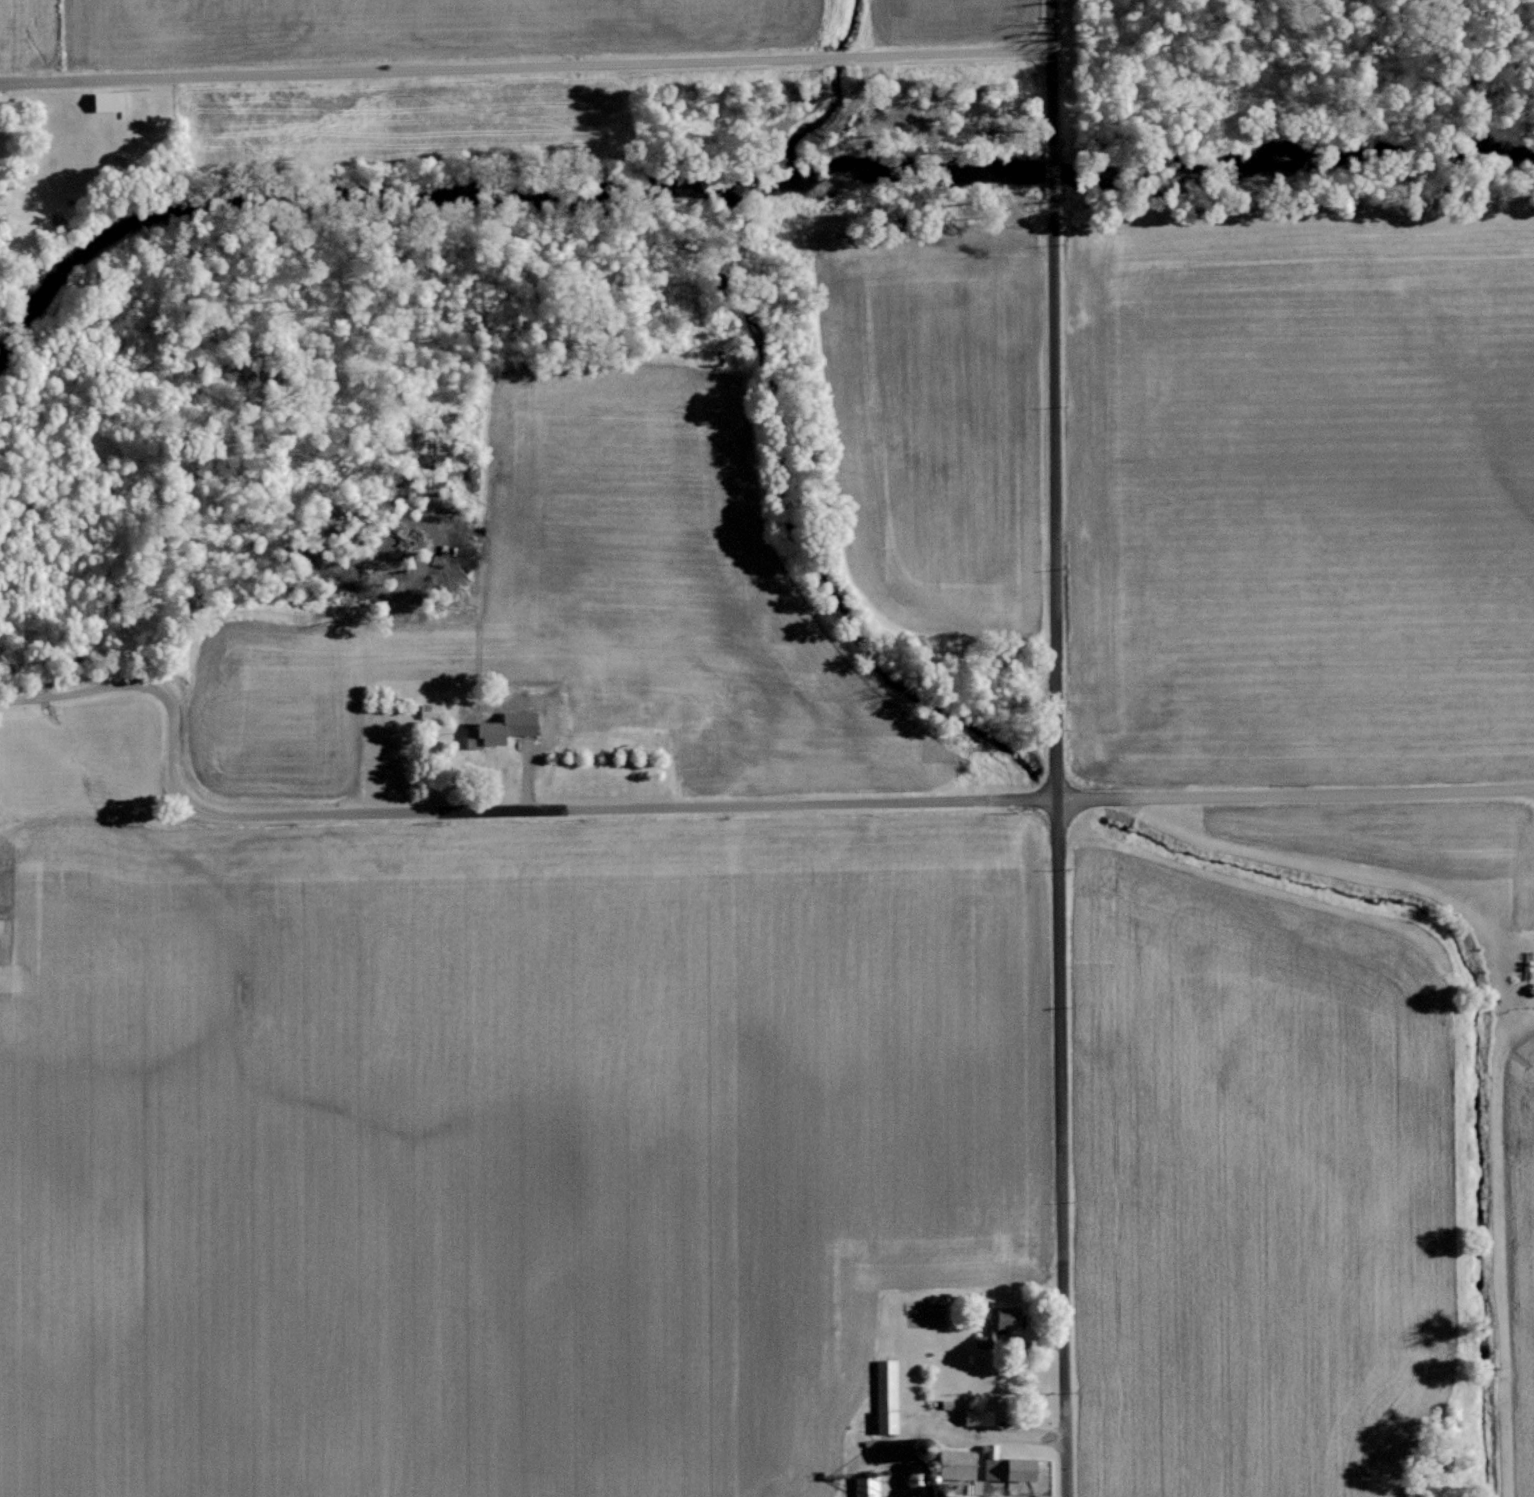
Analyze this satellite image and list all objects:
road: (524, 58)
road: (1049, 60)
building: (105, 100)
road: (1051, 158)
river: (732, 178)
building: (429, 711)
building: (667, 714)
building: (483, 734)
road: (715, 808)
road: (1065, 845)
building: (975, 1415)
building: (885, 1419)
building: (1006, 1465)

